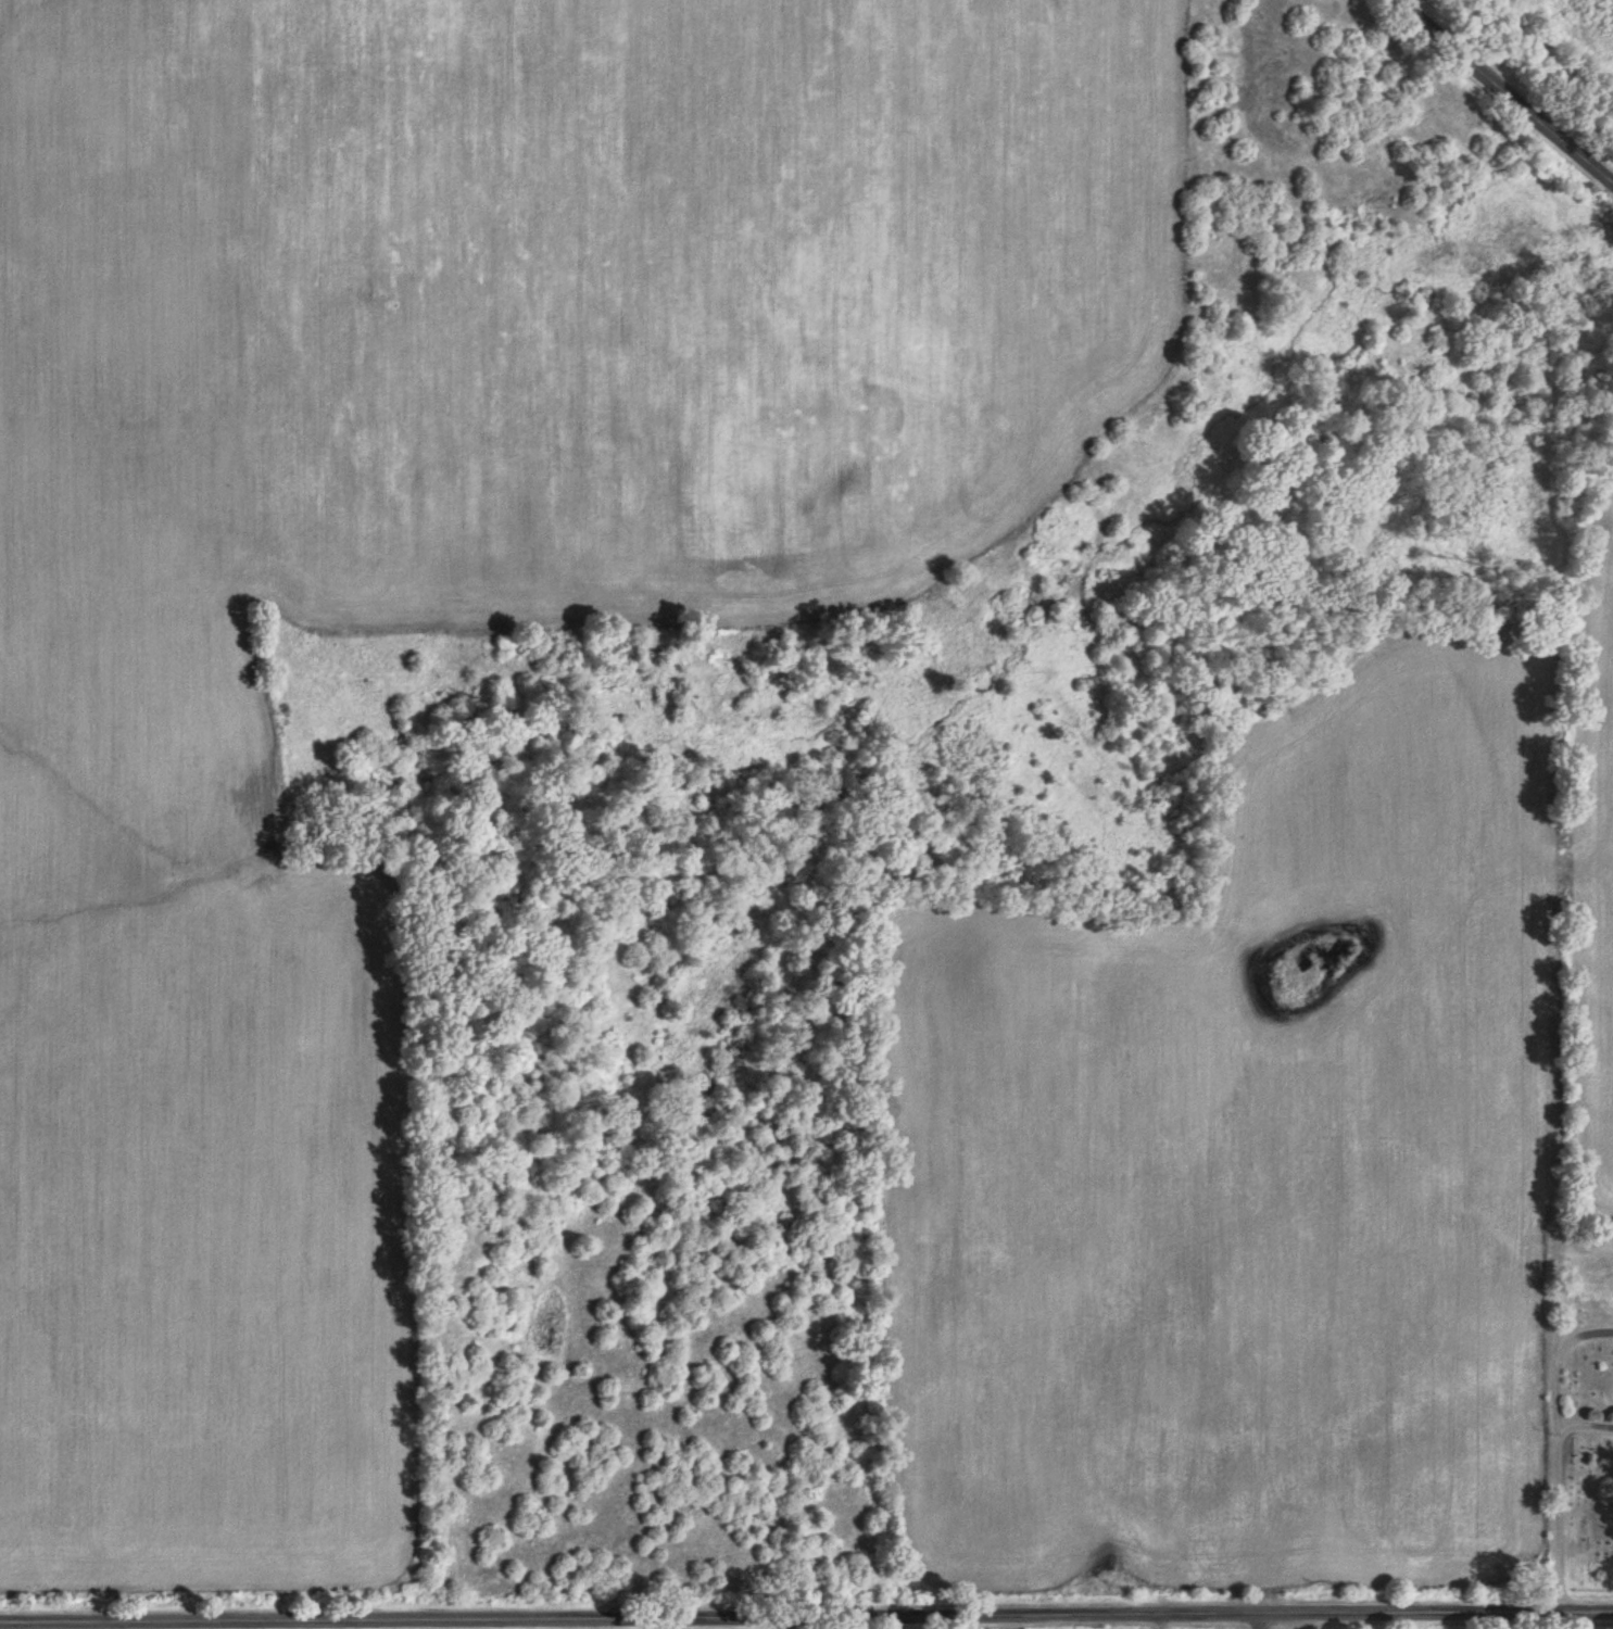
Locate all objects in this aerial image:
road: (1504, 88)
road: (1564, 1365)
park: (1580, 1405)
road: (1589, 1430)
road: (1565, 1524)
road: (806, 1616)
road: (1161, 1621)

